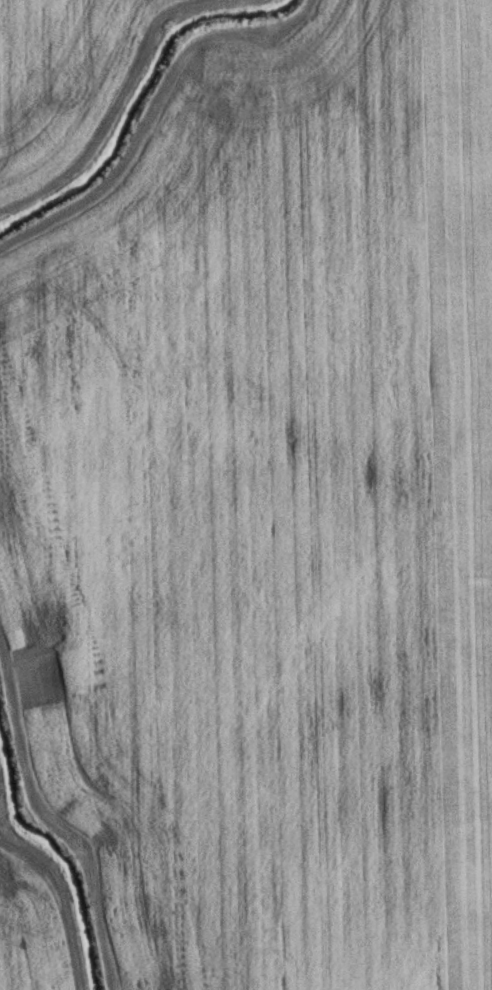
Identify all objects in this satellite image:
crop: (63, 81)
crop: (270, 513)
crop: (30, 918)

